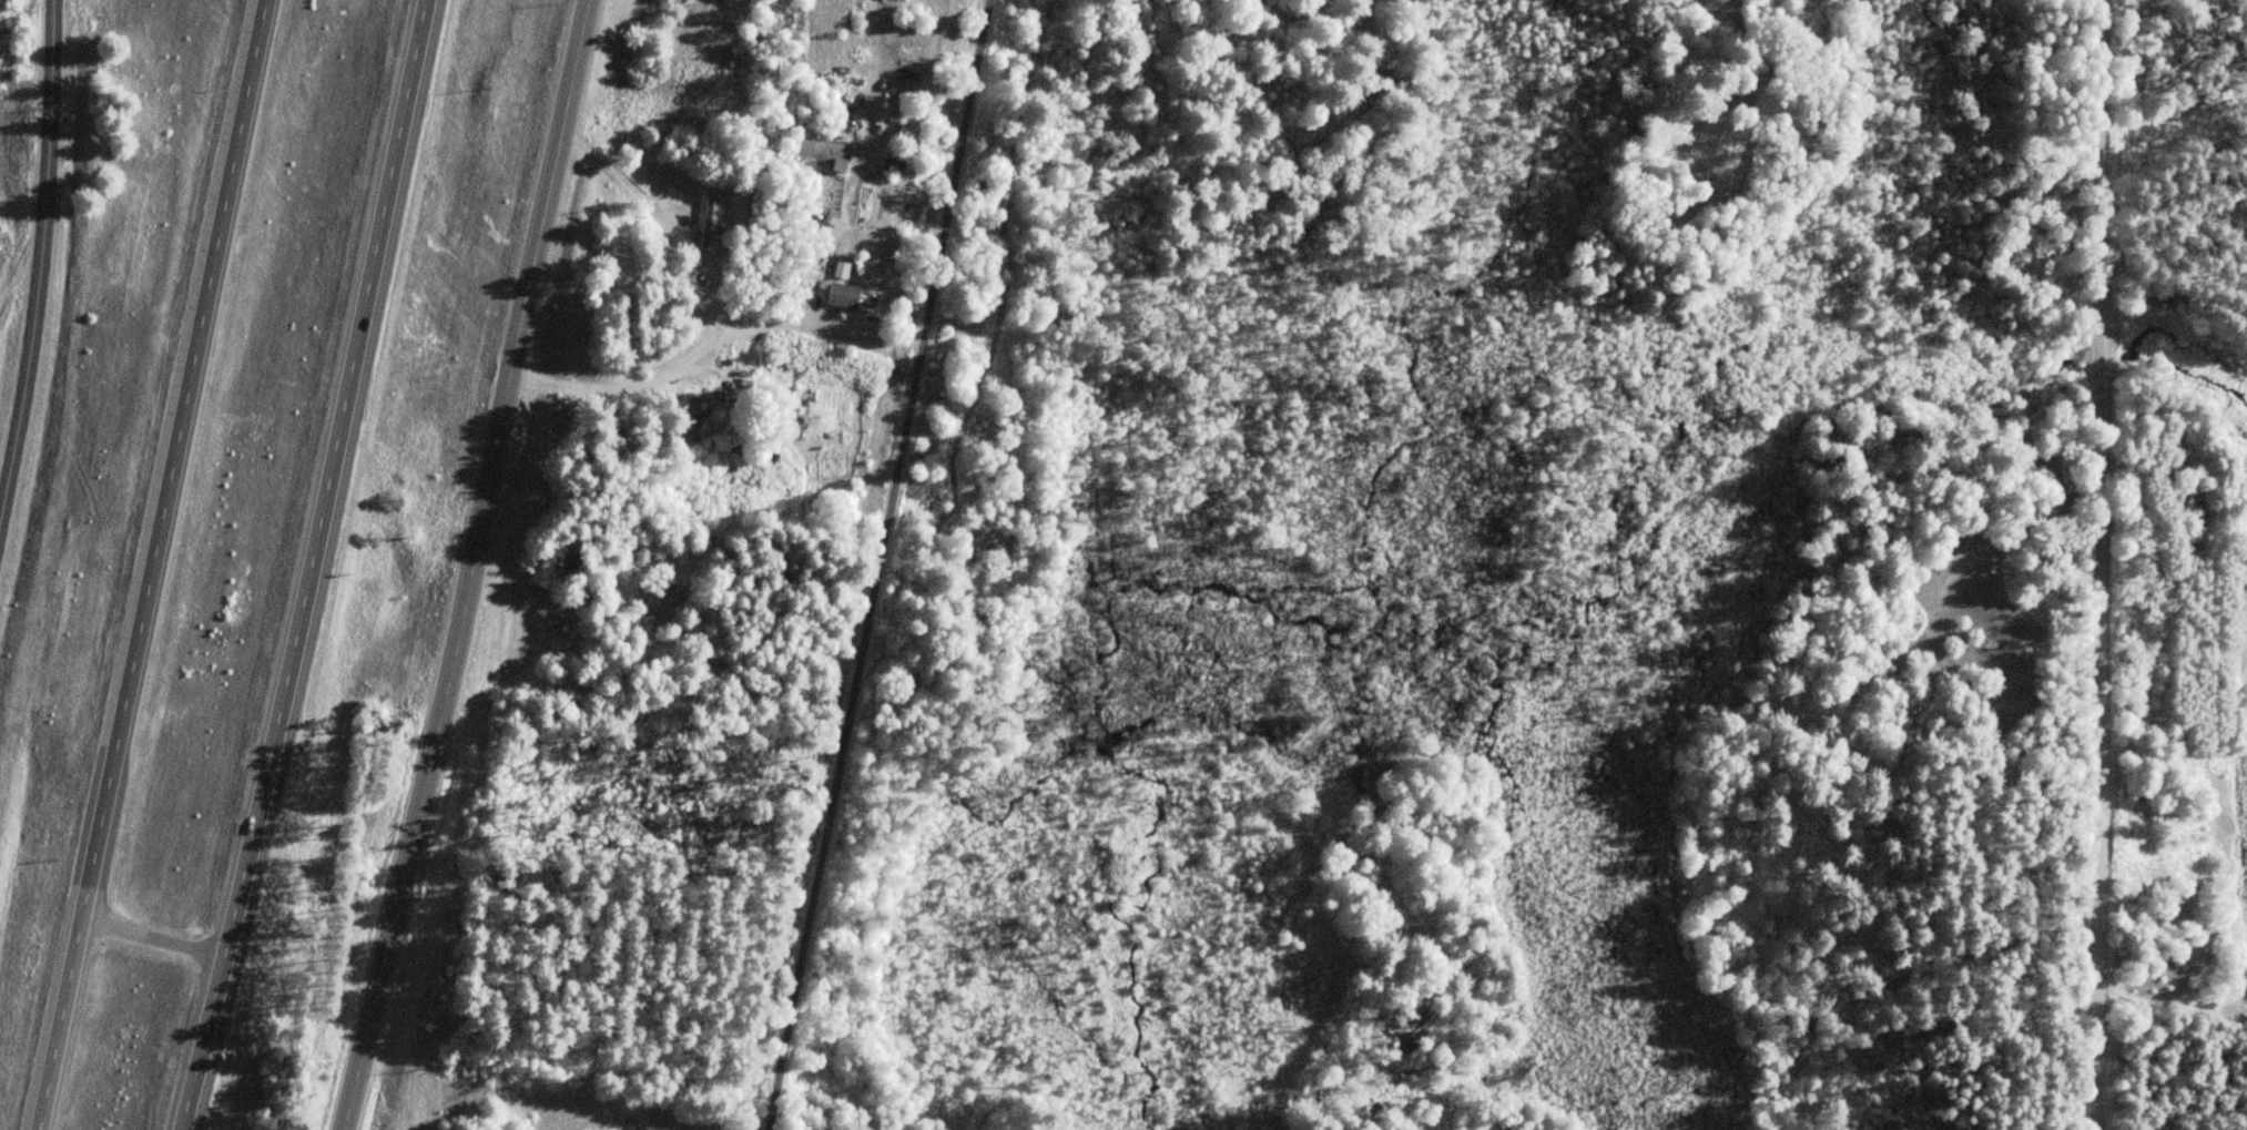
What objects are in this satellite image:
road: (49, 161)
building: (710, 223)
building: (887, 248)
building: (851, 297)
building: (690, 417)
road: (19, 429)
road: (148, 563)
road: (873, 564)
road: (2098, 564)
road: (311, 566)
road: (471, 566)
road: (149, 938)

